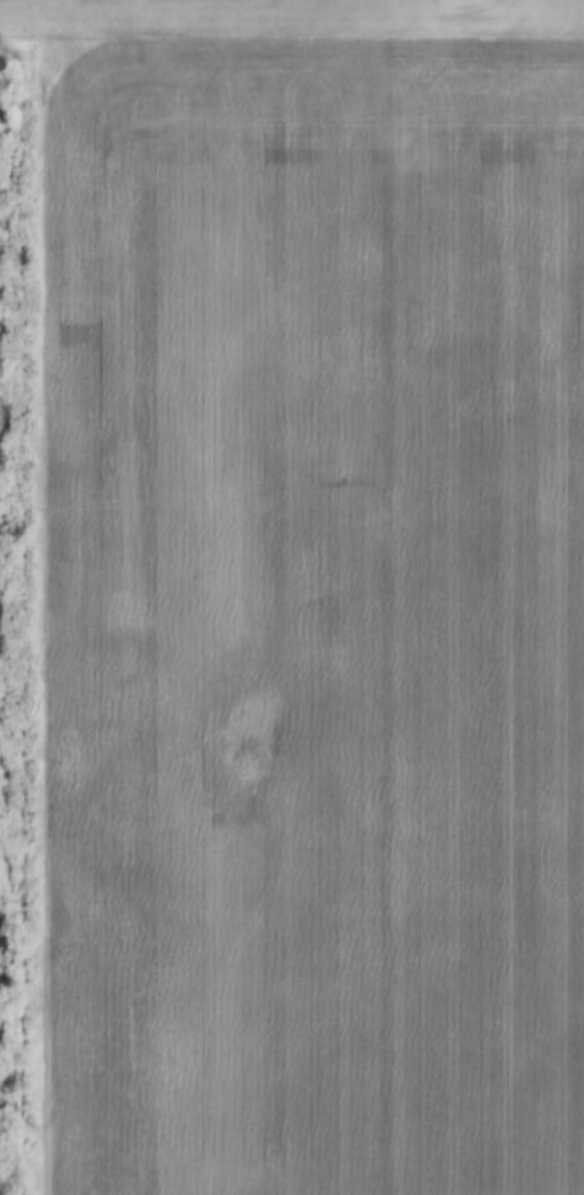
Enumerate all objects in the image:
road: (17, 33)

